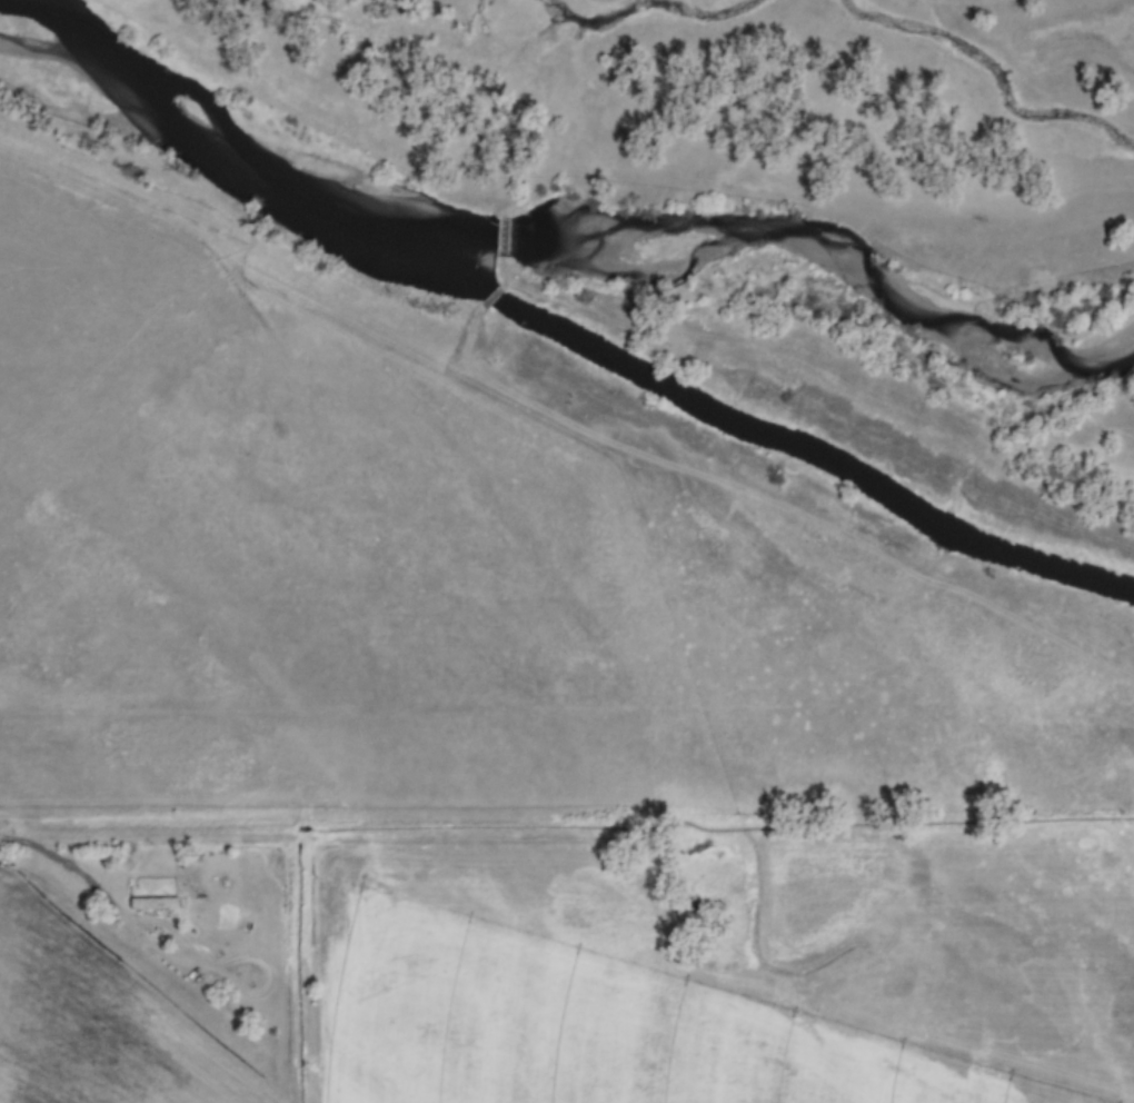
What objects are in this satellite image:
river: (571, 227)
road: (67, 864)
building: (152, 901)

